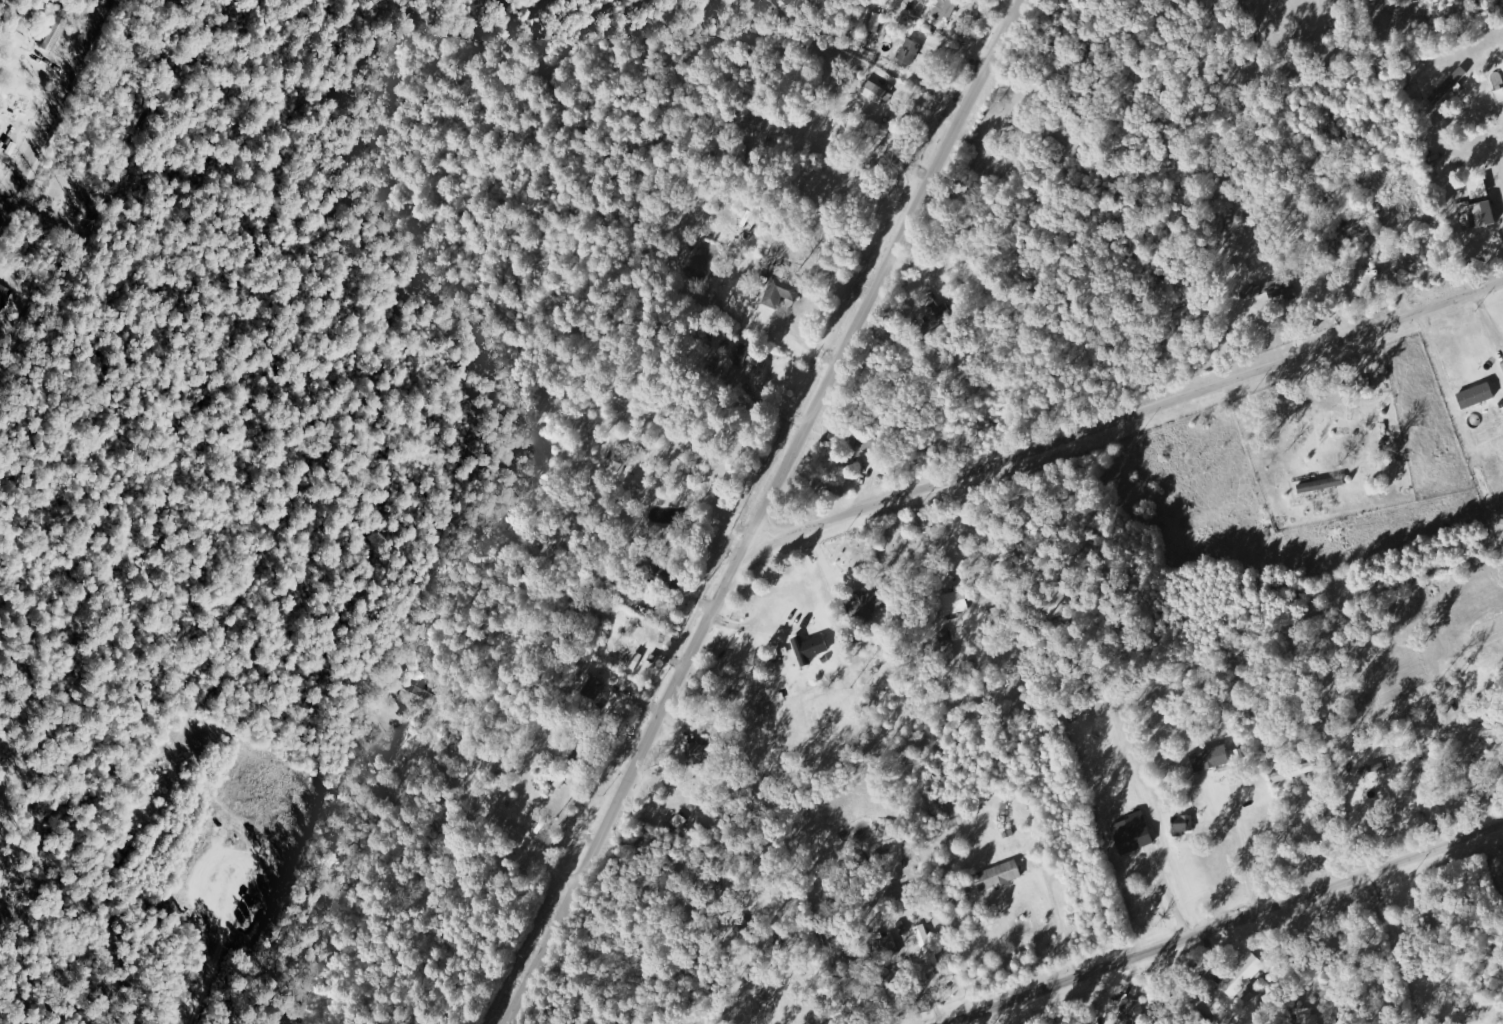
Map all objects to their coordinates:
building: (945, 9)
building: (875, 21)
building: (910, 51)
building: (1448, 85)
building: (875, 92)
road: (59, 116)
building: (1479, 191)
building: (1477, 214)
building: (1356, 226)
building: (781, 289)
building: (1270, 290)
building: (1189, 311)
building: (745, 357)
building: (1502, 363)
building: (1477, 396)
road: (1127, 400)
building: (617, 460)
building: (1321, 484)
building: (1487, 493)
road: (762, 512)
building: (669, 577)
building: (955, 602)
building: (869, 606)
building: (810, 648)
building: (592, 685)
building: (418, 692)
building: (1486, 731)
building: (696, 754)
building: (1212, 758)
building: (1374, 768)
building: (1295, 771)
building: (955, 813)
building: (1183, 824)
building: (1133, 833)
building: (999, 876)
road: (1224, 923)
building: (928, 946)
building: (1242, 974)
building: (1134, 1013)
building: (1308, 1017)

